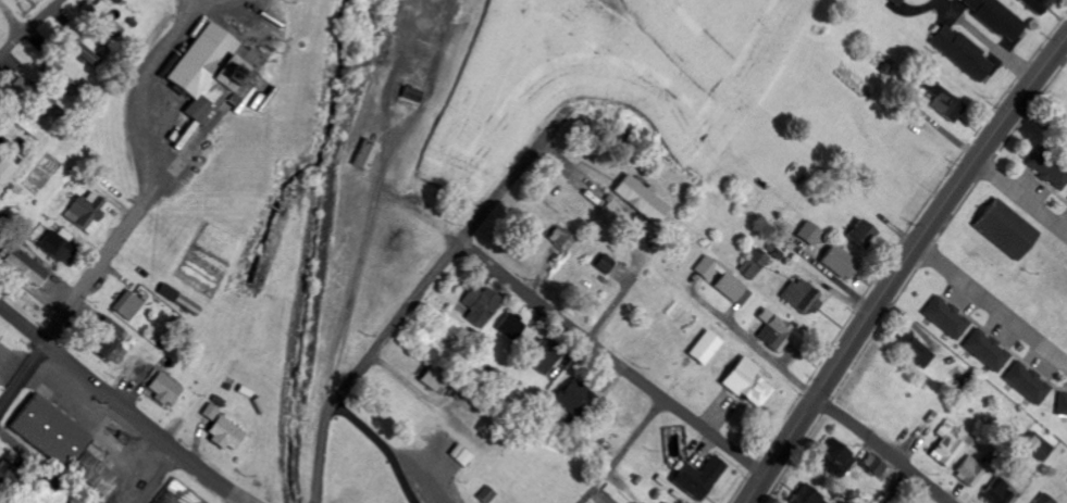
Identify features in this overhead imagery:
building: (897, 2)
building: (1037, 5)
building: (102, 16)
road: (12, 17)
building: (996, 17)
road: (29, 26)
building: (82, 49)
building: (960, 52)
building: (212, 74)
building: (63, 80)
building: (21, 85)
building: (411, 95)
building: (942, 101)
building: (44, 103)
building: (27, 127)
building: (364, 155)
building: (5, 171)
building: (1056, 176)
building: (640, 200)
building: (86, 212)
building: (1005, 229)
building: (809, 234)
building: (861, 235)
building: (563, 239)
building: (58, 246)
building: (839, 263)
building: (604, 264)
building: (753, 264)
road: (902, 267)
building: (25, 268)
building: (723, 280)
road: (419, 298)
building: (801, 298)
building: (127, 305)
building: (482, 305)
road: (73, 306)
building: (945, 317)
building: (113, 326)
building: (514, 329)
building: (773, 332)
building: (102, 343)
building: (704, 349)
building: (913, 349)
building: (987, 351)
building: (541, 357)
road: (612, 361)
building: (136, 368)
building: (433, 378)
building: (745, 383)
building: (1027, 383)
building: (164, 389)
building: (574, 400)
road: (125, 404)
building: (1062, 405)
building: (211, 412)
building: (50, 432)
building: (225, 433)
building: (944, 445)
building: (1037, 447)
building: (599, 451)
road: (879, 451)
road: (624, 452)
building: (836, 456)
building: (969, 473)
building: (94, 474)
building: (9, 476)
building: (696, 479)
road: (896, 488)
building: (998, 493)
building: (805, 496)
building: (1044, 499)
road: (250, 502)
building: (666, 502)

